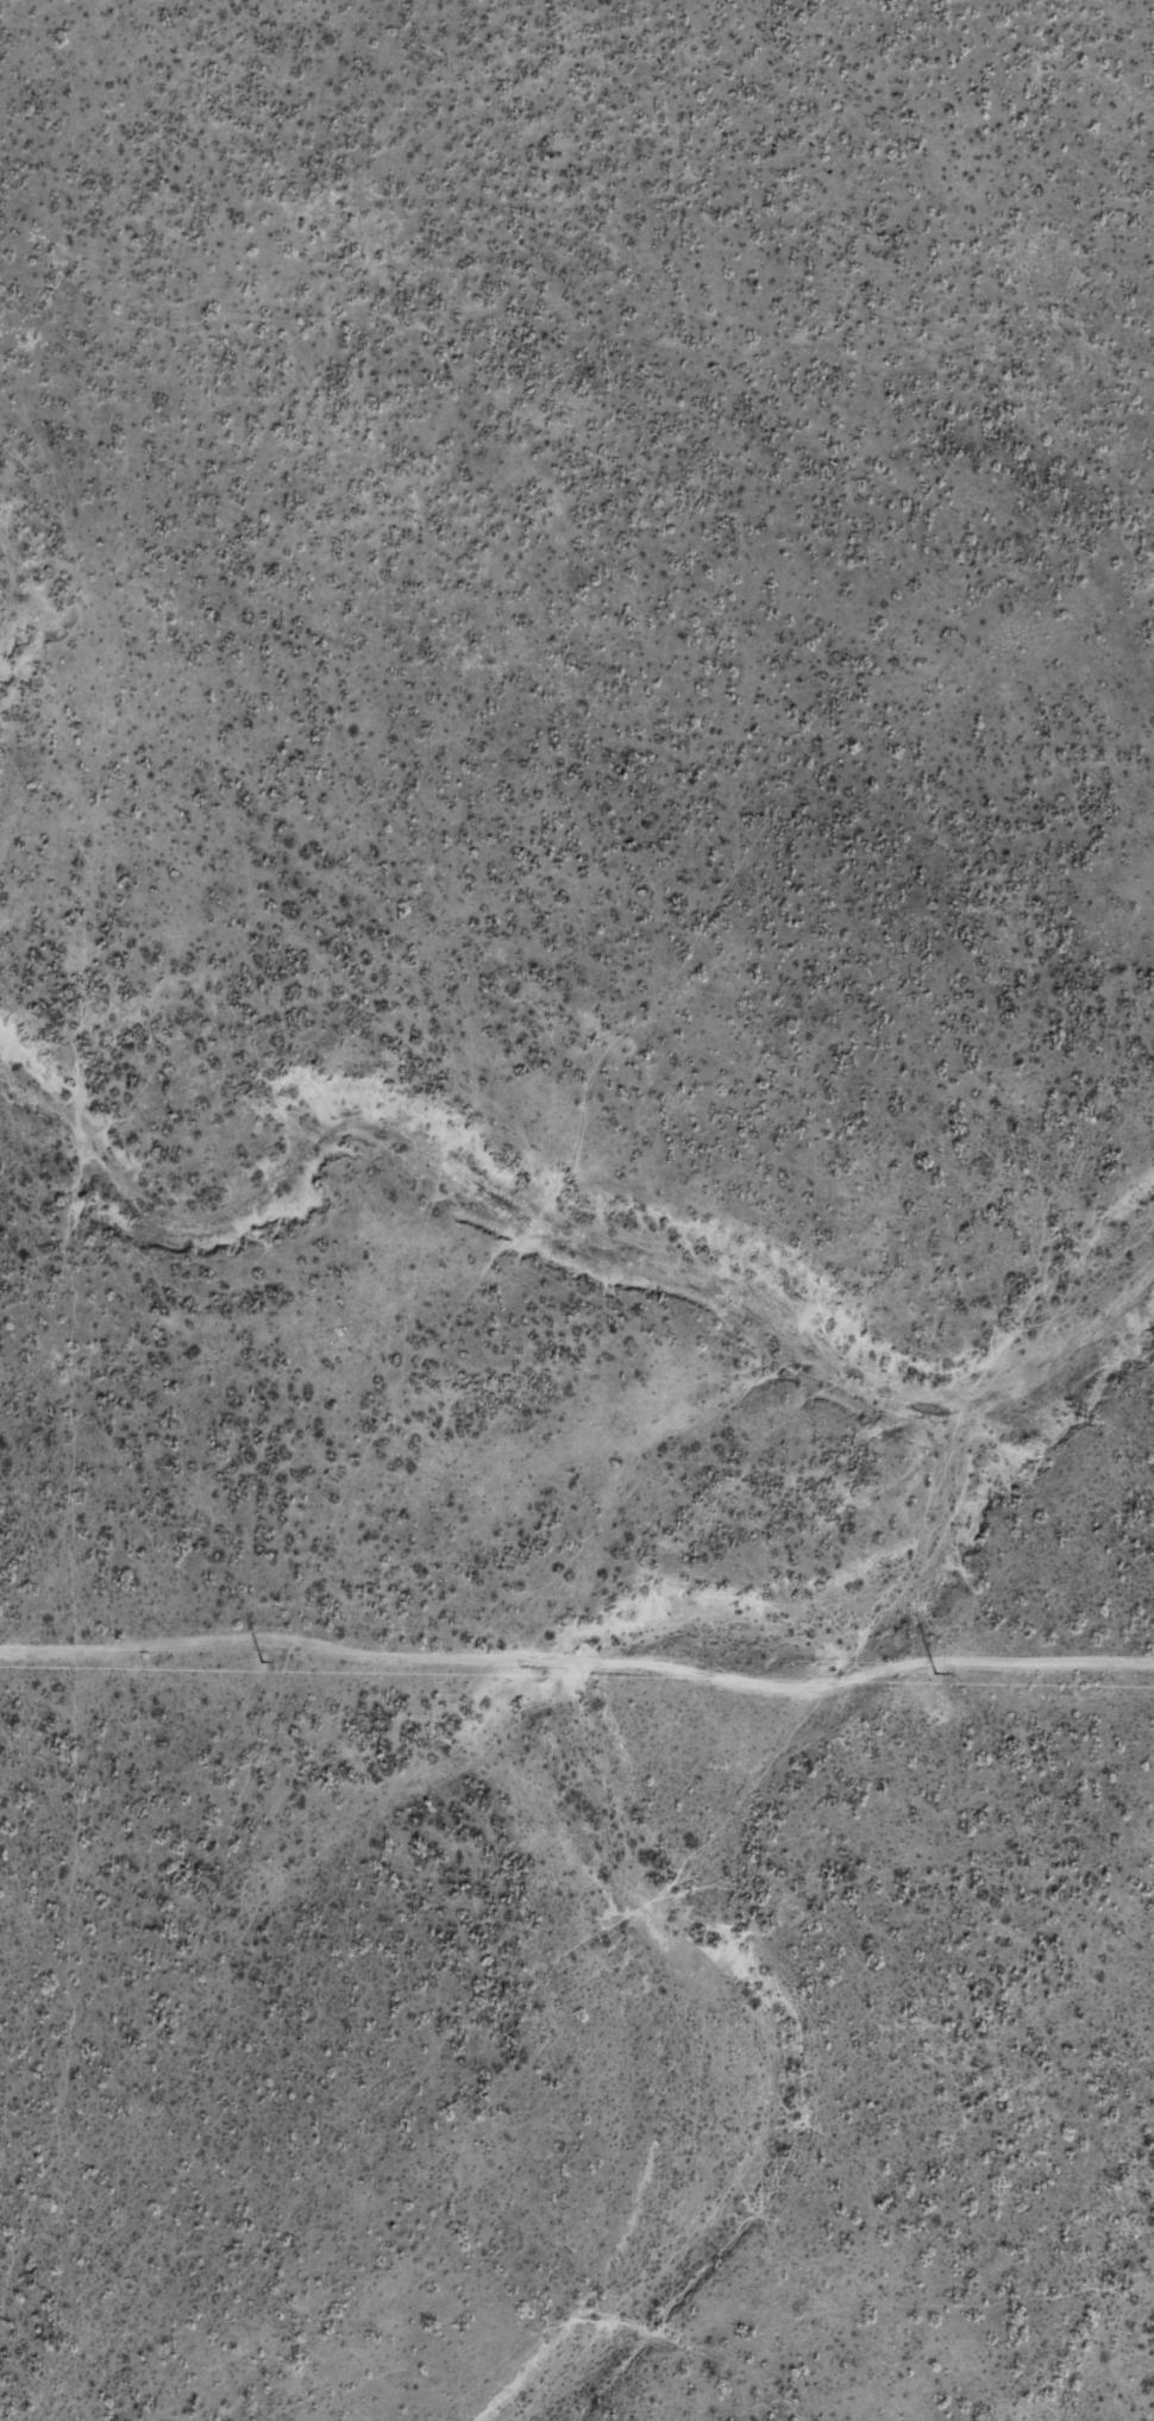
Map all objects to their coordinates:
power tower: (261, 1660)
power tower: (933, 1672)

